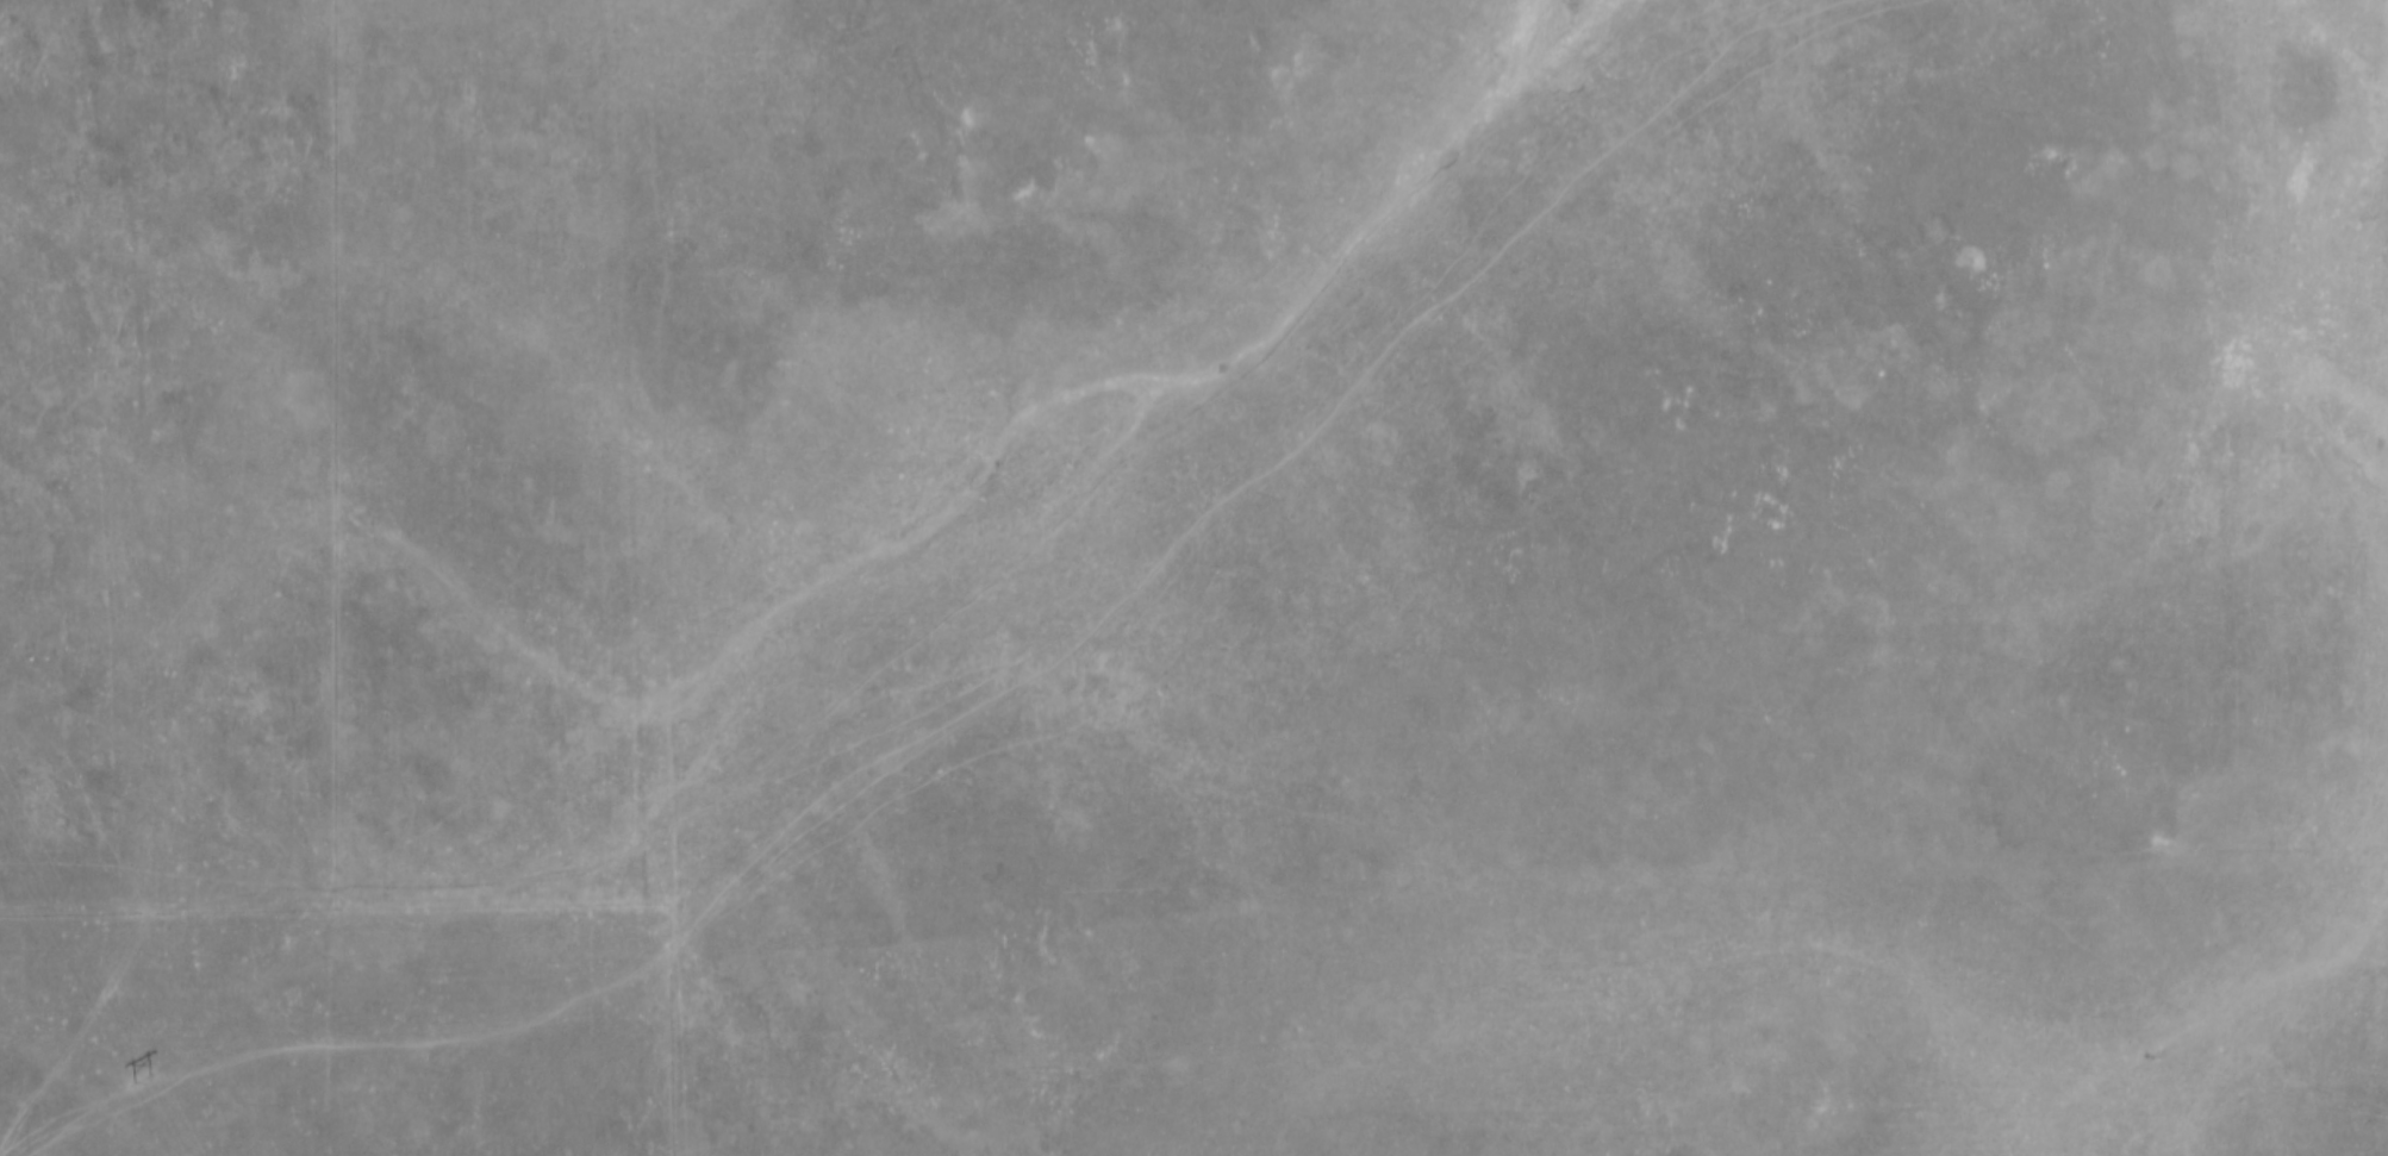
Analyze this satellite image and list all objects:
power tower: (137, 1080)

